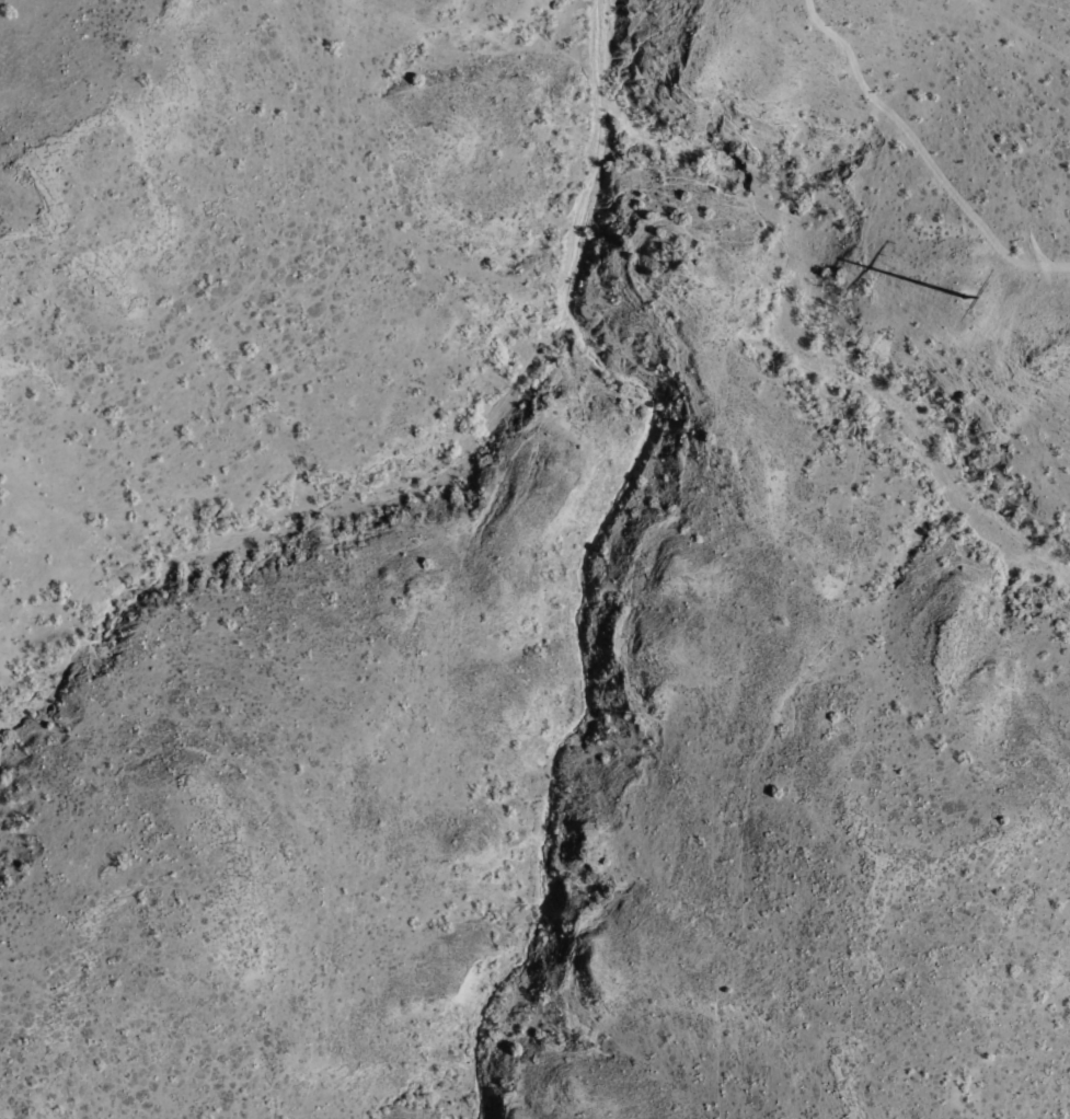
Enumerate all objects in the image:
power tower: (965, 295)

